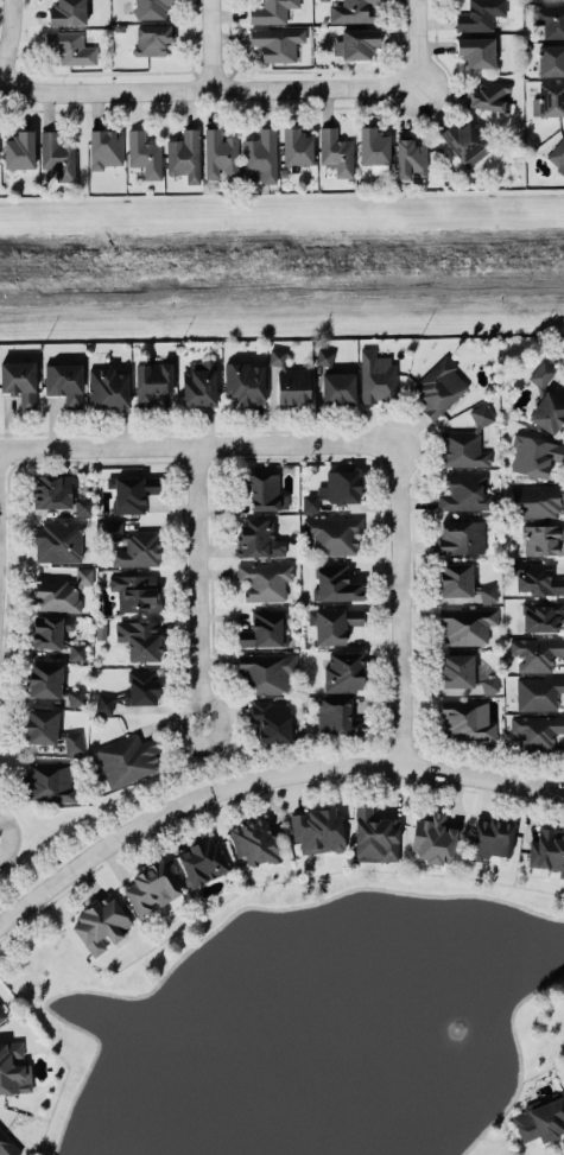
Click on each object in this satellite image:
building: (150, 7)
building: (271, 9)
building: (353, 9)
building: (65, 11)
building: (479, 14)
building: (549, 18)
building: (152, 37)
road: (6, 39)
building: (274, 40)
building: (354, 42)
building: (70, 45)
road: (218, 47)
building: (475, 49)
building: (551, 59)
road: (426, 63)
building: (488, 93)
road: (197, 95)
building: (547, 99)
building: (461, 139)
building: (373, 144)
building: (297, 145)
building: (106, 147)
building: (19, 148)
building: (335, 150)
building: (144, 152)
building: (184, 152)
building: (57, 153)
building: (220, 153)
building: (260, 153)
building: (557, 153)
building: (411, 158)
building: (324, 356)
building: (541, 372)
building: (376, 375)
building: (151, 379)
building: (18, 380)
building: (245, 380)
building: (289, 380)
building: (63, 381)
building: (198, 383)
building: (337, 385)
building: (107, 386)
building: (437, 387)
building: (547, 411)
building: (480, 413)
road: (198, 445)
building: (461, 448)
building: (532, 453)
building: (334, 487)
building: (262, 489)
building: (58, 491)
building: (132, 491)
building: (465, 491)
building: (537, 500)
building: (334, 533)
building: (461, 535)
building: (255, 537)
building: (543, 538)
building: (57, 539)
building: (132, 545)
building: (455, 577)
building: (537, 577)
building: (266, 578)
building: (335, 580)
road: (198, 584)
building: (61, 589)
building: (135, 590)
building: (488, 592)
road: (398, 604)
building: (543, 616)
building: (331, 622)
building: (465, 623)
building: (264, 627)
building: (49, 628)
building: (138, 636)
building: (536, 651)
building: (266, 669)
building: (342, 669)
building: (456, 669)
building: (43, 678)
building: (488, 681)
building: (131, 688)
building: (537, 691)
building: (75, 696)
building: (336, 716)
building: (270, 719)
building: (465, 719)
building: (40, 724)
building: (537, 729)
building: (72, 741)
building: (127, 757)
road: (262, 776)
building: (47, 779)
building: (317, 829)
building: (373, 832)
building: (433, 836)
building: (490, 836)
building: (255, 839)
building: (546, 849)
building: (202, 859)
building: (148, 886)
building: (100, 921)
building: (2, 1013)
fountain: (448, 1032)
building: (13, 1067)
building: (540, 1117)
building: (7, 1144)

